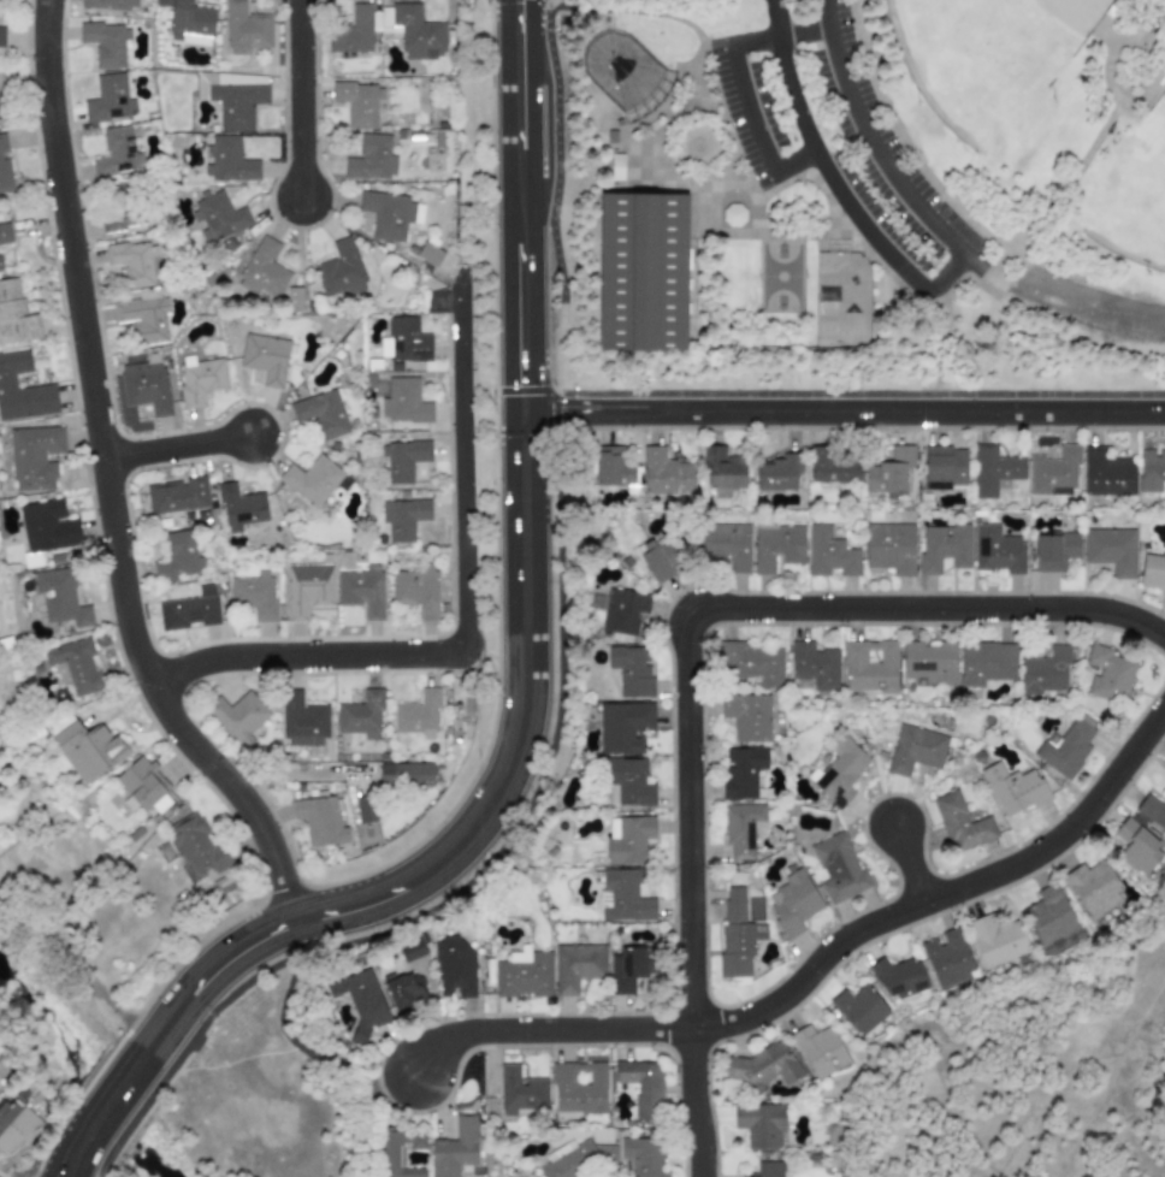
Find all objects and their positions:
building: (108, 4)
traffic signals: (520, 4)
road: (631, 12)
road: (1140, 16)
building: (188, 22)
building: (244, 28)
building: (351, 30)
building: (414, 31)
road: (794, 34)
building: (1, 36)
building: (105, 42)
road: (1108, 51)
park: (984, 55)
park: (622, 69)
building: (232, 96)
road: (304, 96)
building: (108, 97)
road: (796, 101)
building: (357, 102)
building: (1, 107)
road: (904, 137)
parking lot: (838, 140)
fountain: (696, 143)
road: (876, 143)
road: (1099, 143)
building: (116, 152)
building: (371, 158)
building: (227, 160)
building: (4, 165)
building: (615, 166)
park: (1130, 191)
road: (558, 197)
park: (858, 199)
road: (521, 205)
building: (116, 208)
building: (389, 213)
building: (733, 215)
building: (218, 220)
building: (5, 232)
building: (427, 254)
building: (134, 262)
building: (0, 264)
building: (339, 270)
building: (264, 271)
park: (640, 272)
building: (641, 272)
park: (780, 277)
road: (891, 278)
road: (982, 285)
building: (292, 297)
road: (1065, 301)
building: (14, 314)
building: (143, 315)
building: (404, 341)
road: (944, 345)
building: (265, 357)
building: (199, 379)
traffic signals: (522, 382)
building: (146, 384)
building: (22, 389)
road: (862, 395)
building: (403, 401)
traffic signals: (563, 412)
road: (844, 412)
building: (321, 413)
traffic signals: (522, 436)
road: (181, 450)
building: (34, 456)
building: (403, 459)
building: (613, 467)
building: (830, 467)
building: (942, 467)
building: (993, 469)
building: (1151, 469)
building: (722, 471)
building: (888, 471)
building: (1052, 471)
building: (666, 473)
building: (779, 473)
building: (1106, 473)
building: (313, 480)
road: (112, 484)
building: (176, 495)
building: (239, 507)
building: (403, 517)
building: (47, 526)
building: (725, 545)
building: (776, 546)
building: (888, 546)
building: (942, 546)
building: (995, 549)
building: (1054, 550)
building: (1111, 550)
building: (829, 552)
building: (177, 556)
building: (655, 561)
building: (1152, 570)
building: (306, 588)
building: (416, 590)
building: (361, 591)
building: (254, 595)
building: (59, 597)
building: (619, 609)
building: (189, 610)
road: (468, 627)
road: (684, 650)
building: (749, 662)
building: (928, 662)
building: (984, 663)
building: (814, 664)
building: (72, 666)
building: (869, 666)
building: (628, 669)
building: (1043, 672)
building: (1108, 673)
building: (361, 715)
building: (418, 715)
building: (746, 716)
building: (237, 717)
building: (301, 720)
building: (623, 726)
building: (88, 749)
building: (915, 749)
building: (1065, 749)
building: (741, 771)
building: (838, 771)
building: (406, 774)
building: (627, 782)
building: (143, 785)
building: (1013, 787)
street lamp: (885, 792)
building: (1163, 793)
building: (365, 809)
building: (1151, 810)
building: (319, 820)
building: (960, 823)
road: (478, 824)
building: (741, 827)
building: (627, 838)
building: (196, 844)
building: (1136, 847)
road: (909, 864)
building: (838, 868)
building: (1093, 888)
building: (622, 897)
building: (792, 901)
building: (1048, 915)
building: (734, 934)
building: (995, 940)
building: (410, 950)
road: (1161, 950)
building: (947, 958)
road: (817, 962)
building: (576, 965)
road: (79, 968)
building: (453, 968)
building: (627, 968)
building: (524, 974)
building: (898, 978)
building: (403, 990)
building: (360, 999)
building: (859, 1010)
road: (213, 1013)
road: (297, 1042)
building: (820, 1049)
building: (762, 1066)
building: (641, 1086)
building: (578, 1087)
road: (119, 1090)
building: (519, 1092)
road: (362, 1106)
road: (130, 1123)
building: (759, 1124)
building: (13, 1126)
road: (81, 1147)
building: (455, 1148)
building: (398, 1151)
building: (643, 1155)
building: (575, 1159)
road: (102, 1165)
building: (769, 1169)
road: (102, 1175)

